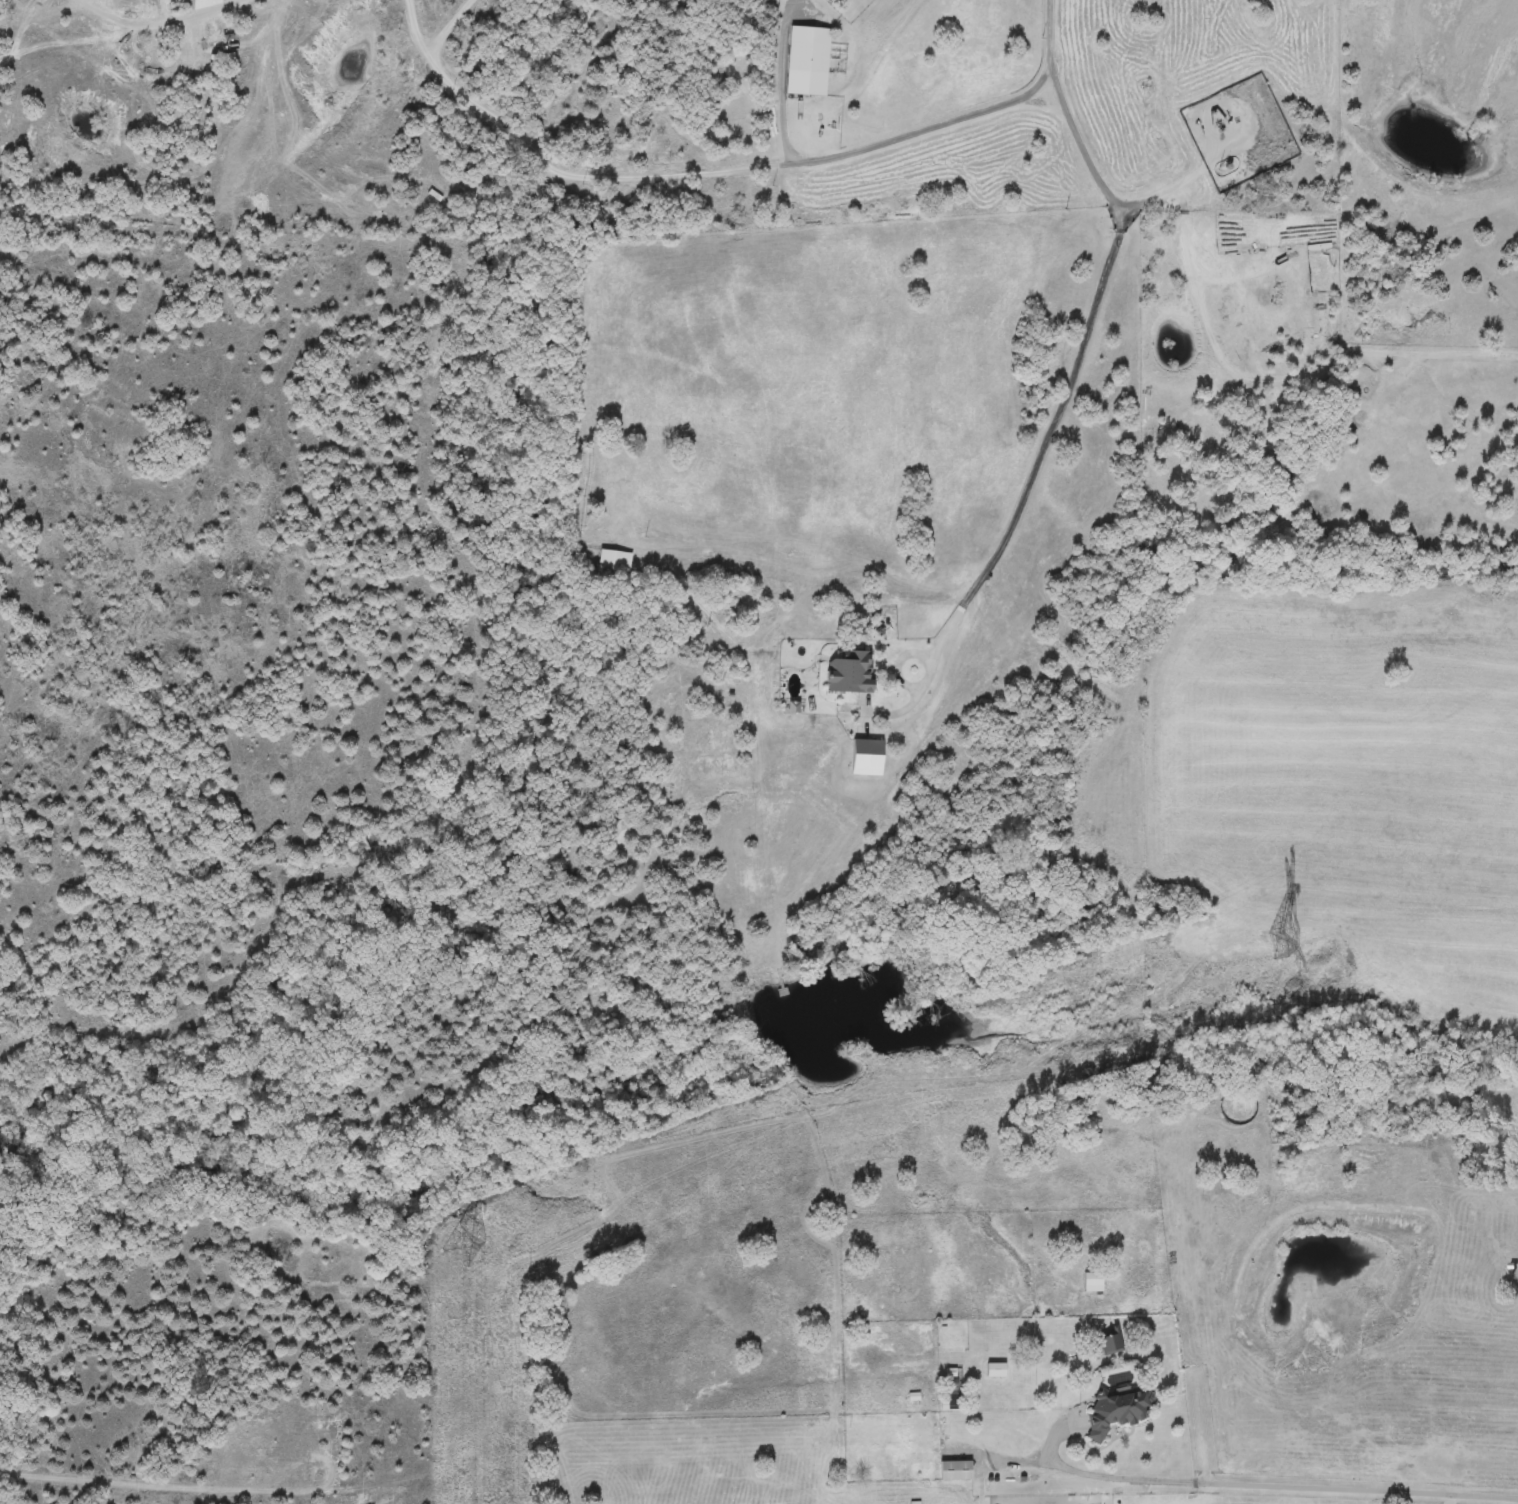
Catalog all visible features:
road: (160, 24)
road: (416, 37)
building: (807, 57)
road: (776, 81)
road: (287, 132)
road: (691, 172)
road: (1078, 335)
building: (612, 560)
building: (851, 671)
power tower: (1277, 945)
power tower: (460, 1246)
building: (1092, 1281)
building: (1109, 1342)
building: (995, 1370)
building: (952, 1388)
building: (1119, 1409)
building: (955, 1470)
road: (1057, 1470)
road: (1323, 1489)

